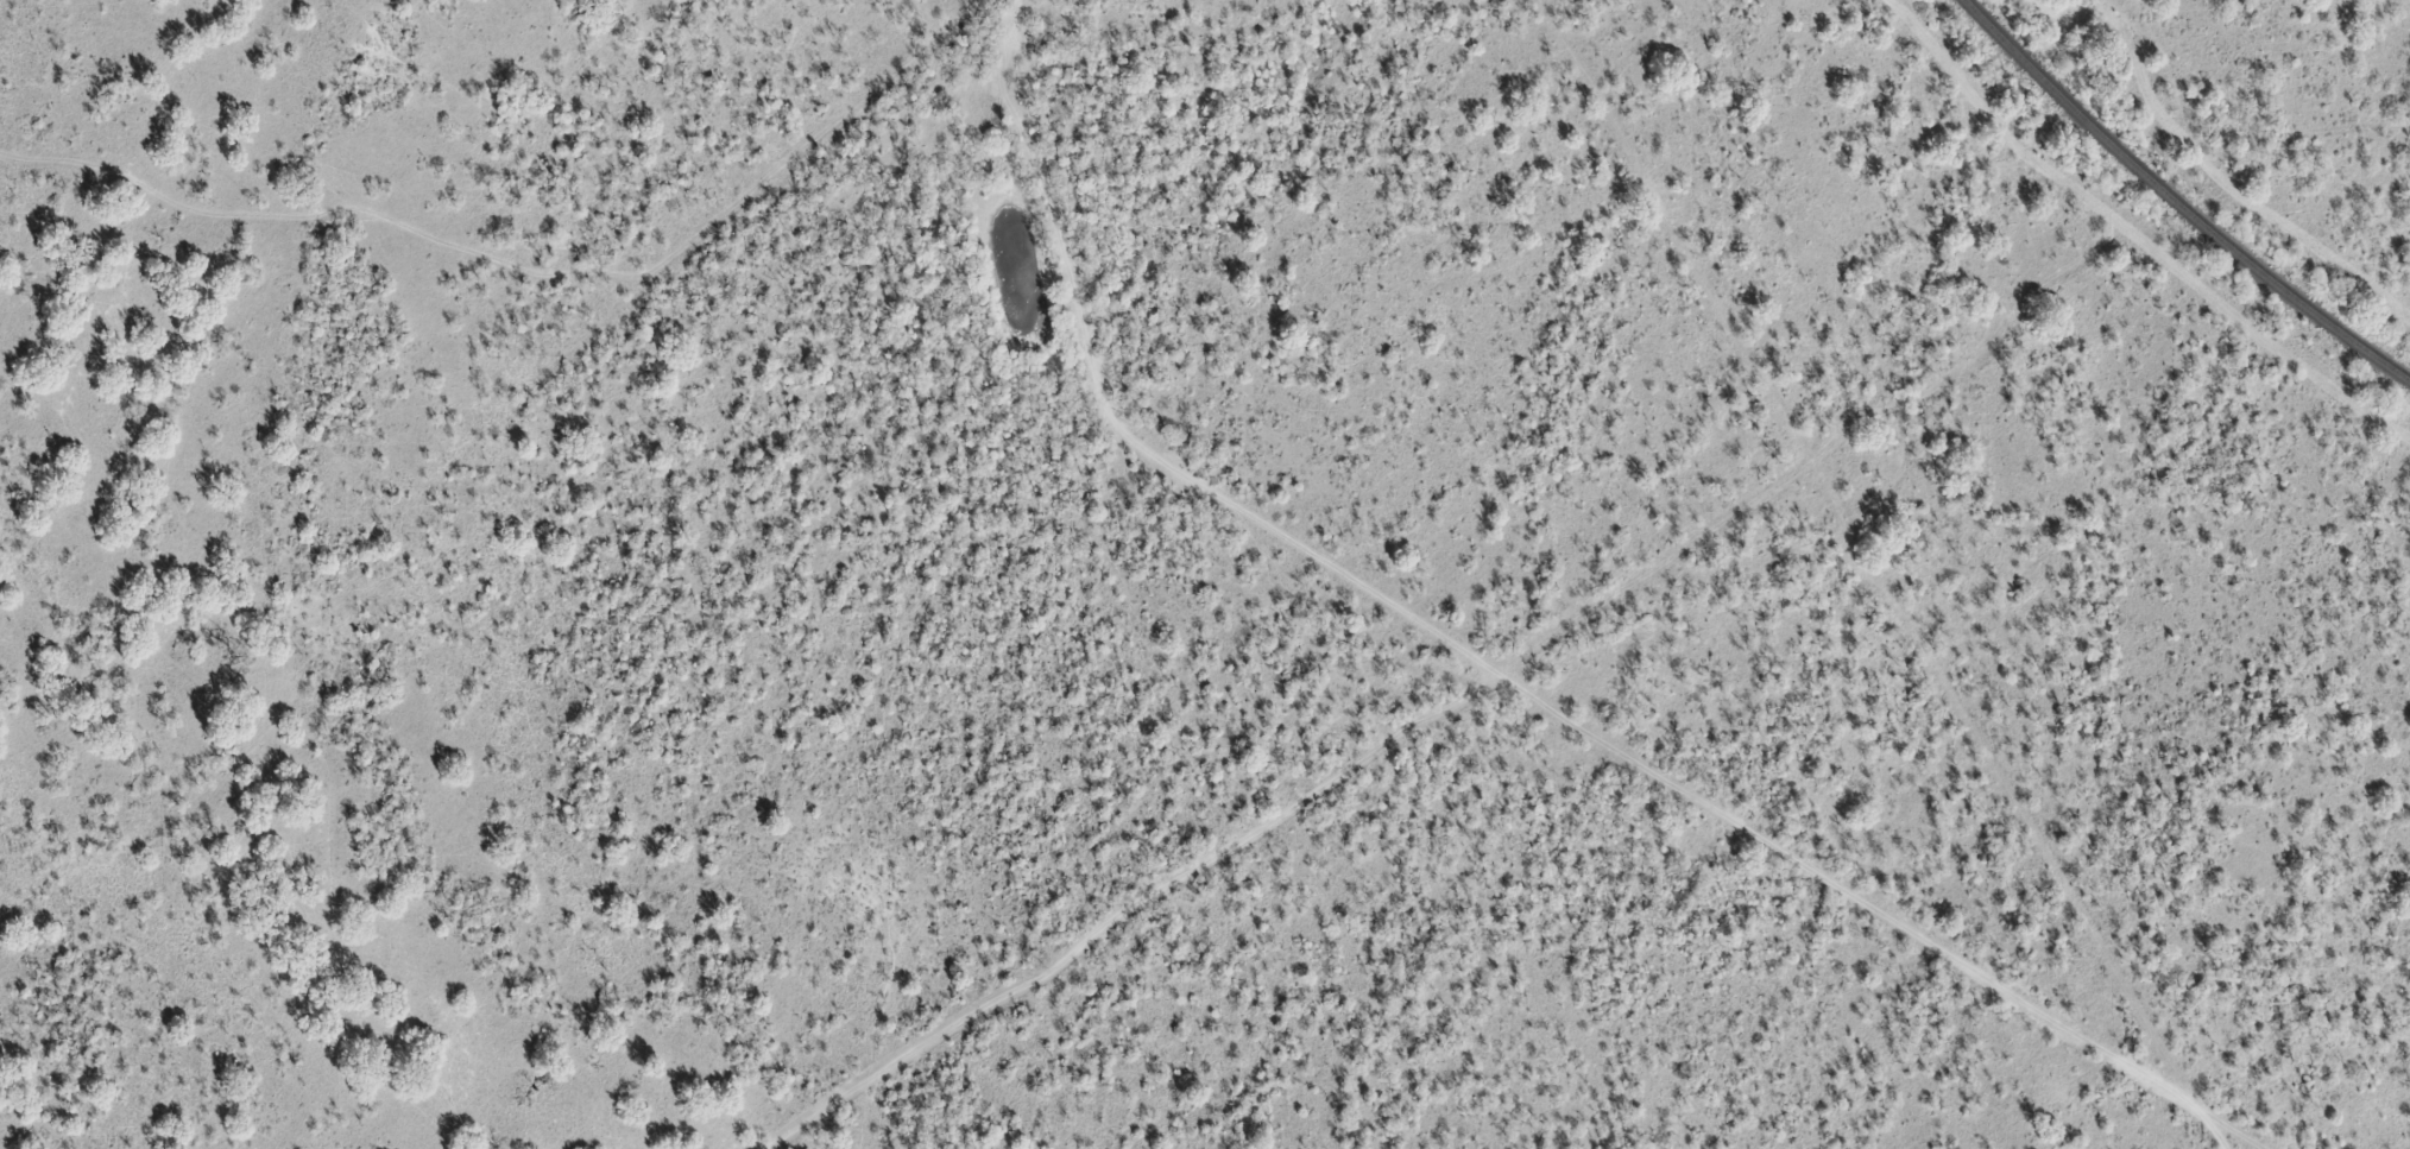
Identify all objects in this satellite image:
railway: (2175, 201)

